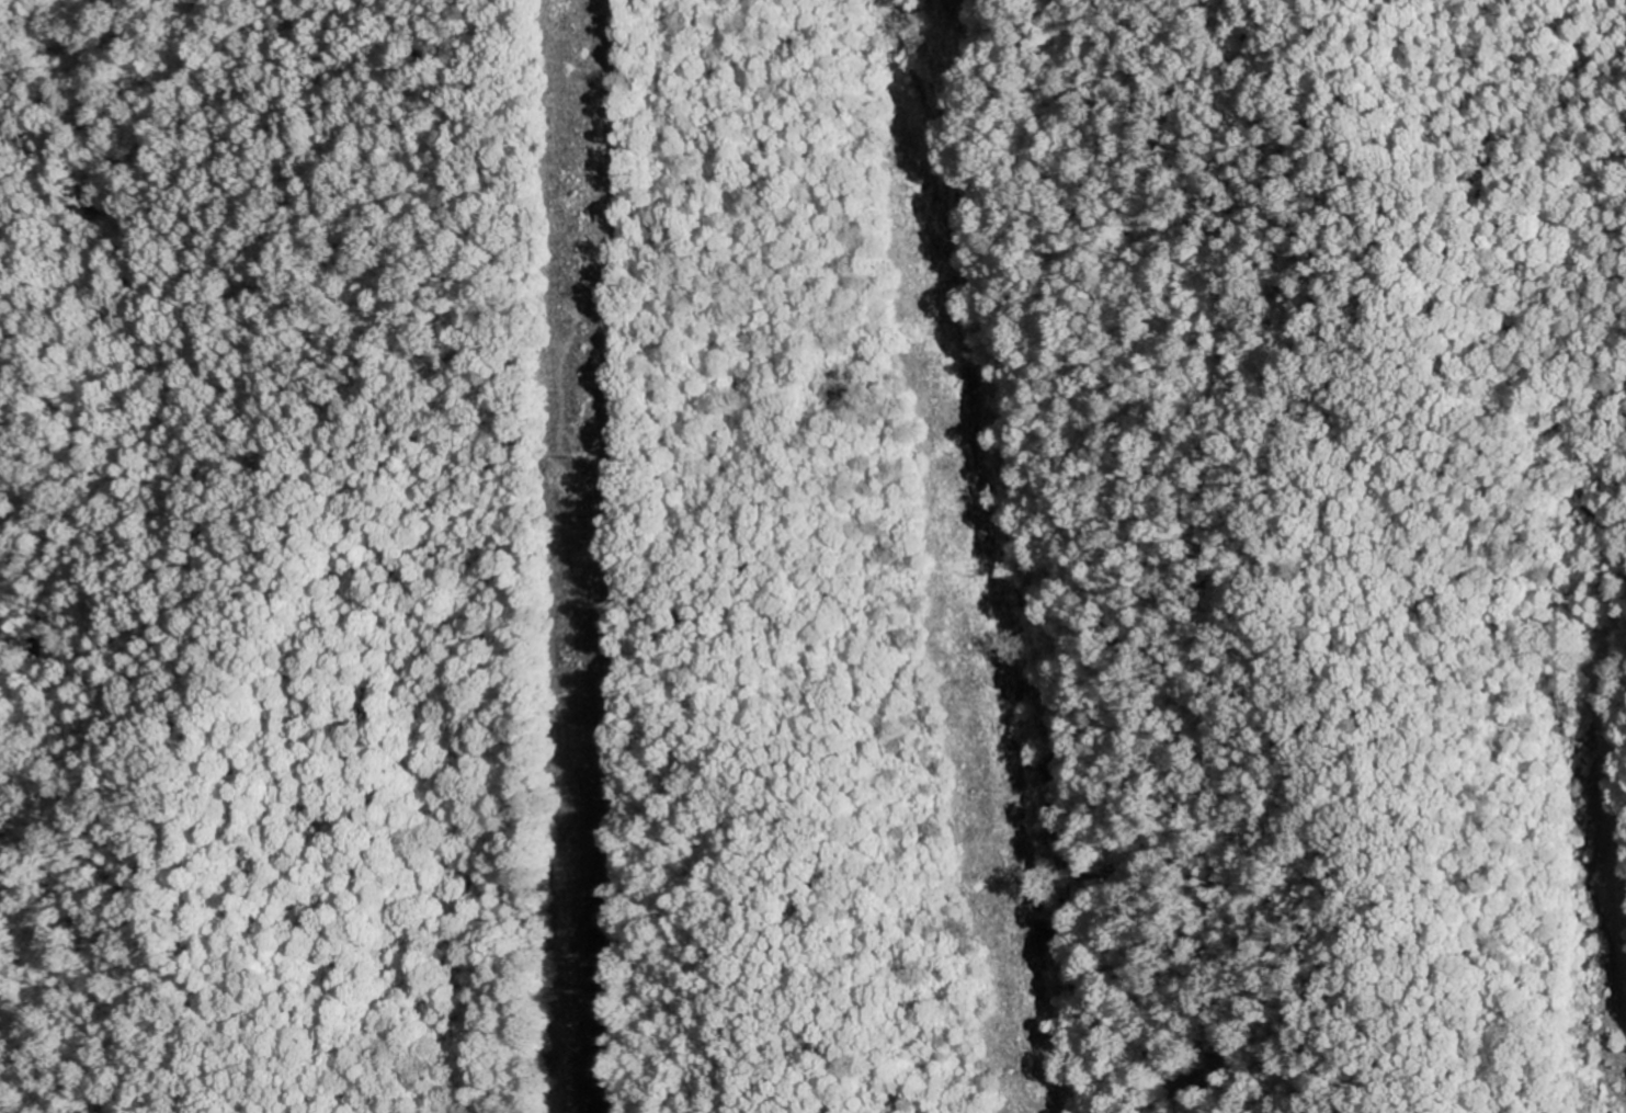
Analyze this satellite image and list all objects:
power tower: (573, 293)
road: (1080, 938)
road: (1130, 997)

